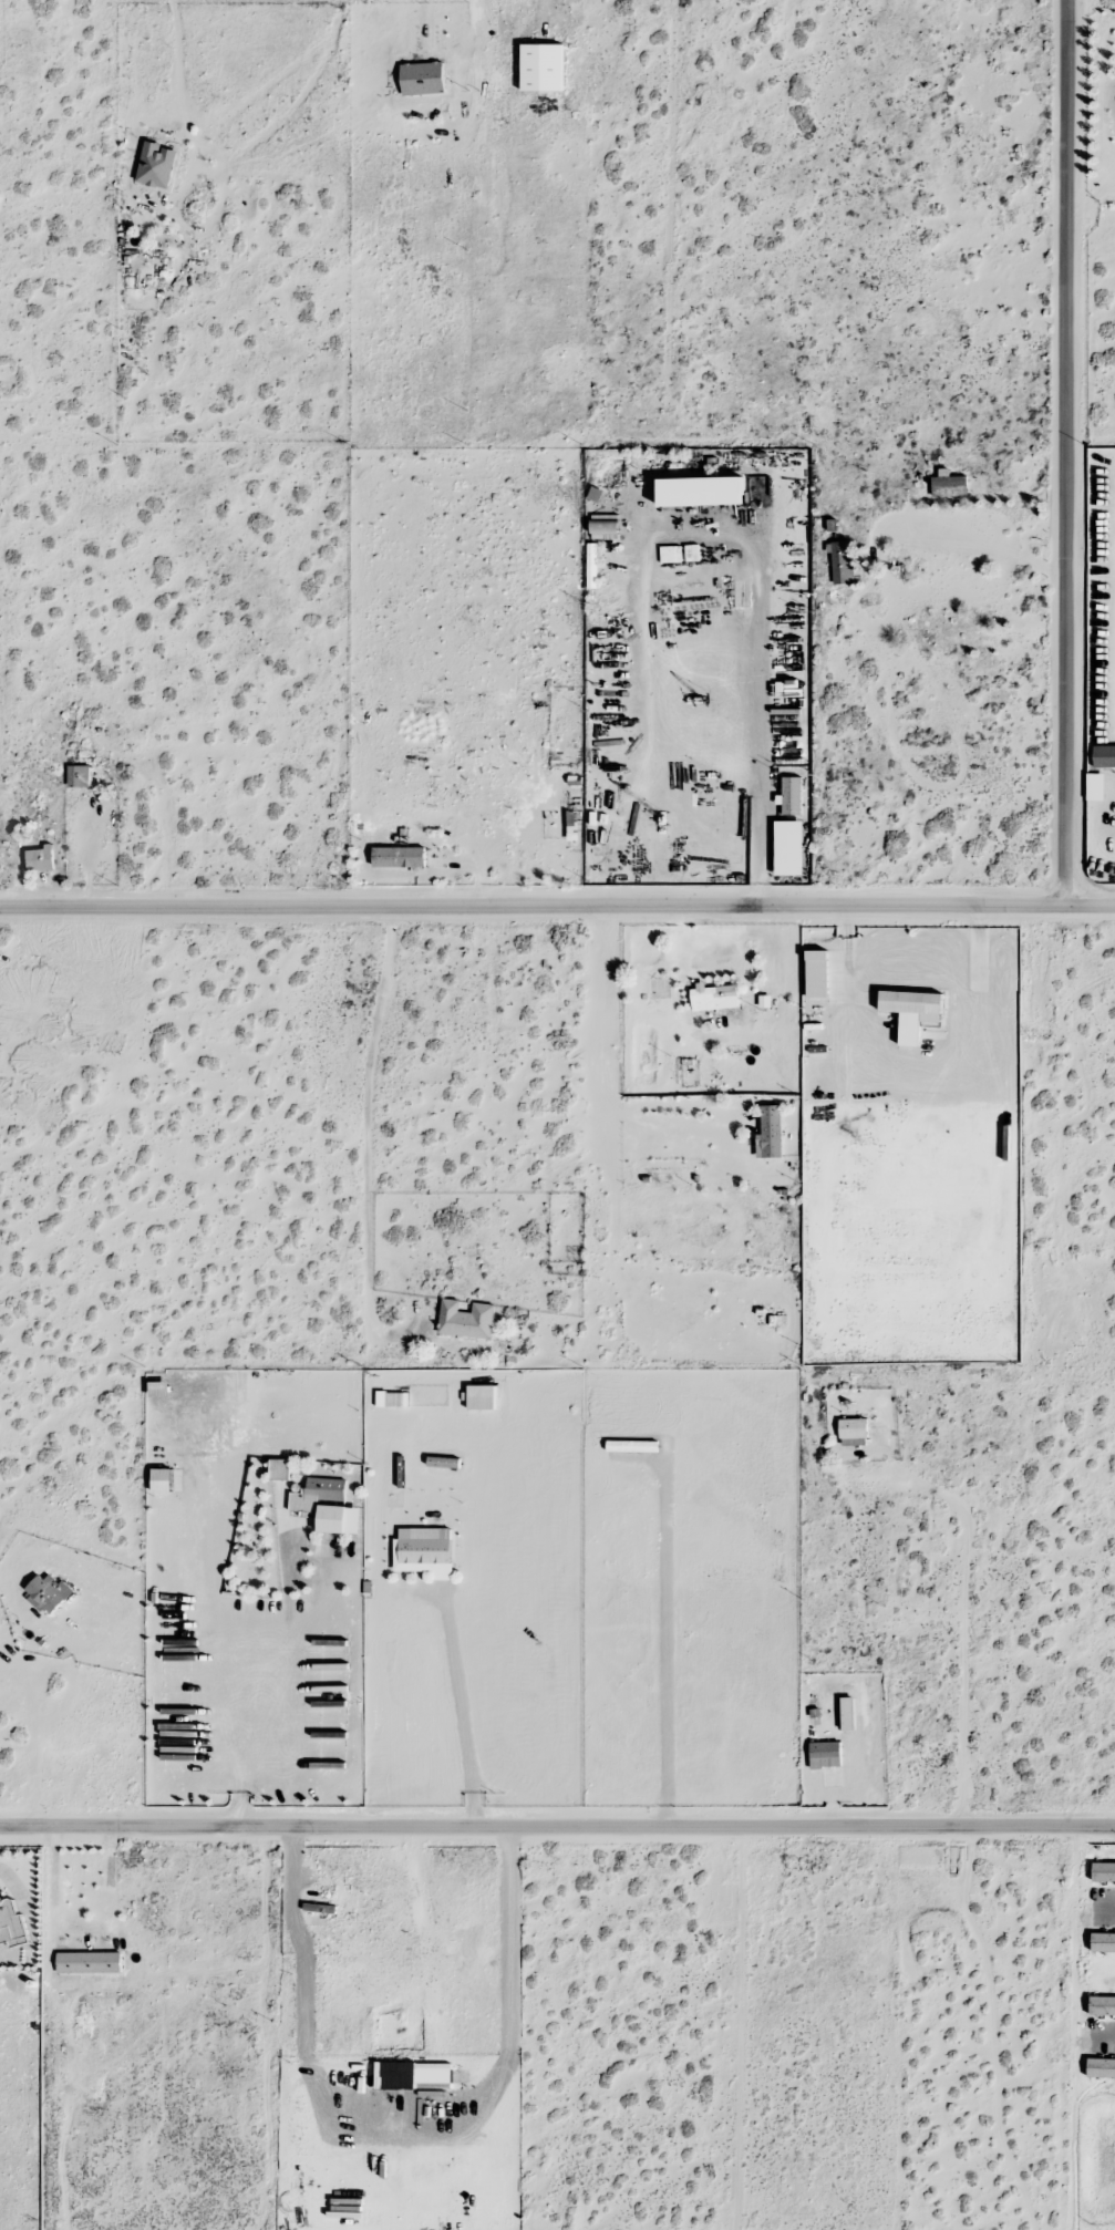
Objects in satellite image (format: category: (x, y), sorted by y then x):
building: (156, 165)
road: (1065, 451)
building: (948, 478)
building: (701, 491)
building: (949, 491)
road: (746, 540)
building: (840, 562)
building: (590, 566)
building: (1104, 756)
building: (79, 776)
building: (791, 796)
building: (788, 848)
building: (399, 857)
building: (40, 858)
road: (557, 904)
building: (817, 973)
building: (713, 998)
building: (912, 1013)
road: (911, 1068)
road: (591, 1072)
building: (770, 1133)
road: (369, 1142)
building: (465, 1320)
building: (853, 1432)
building: (162, 1480)
building: (317, 1494)
building: (332, 1519)
building: (424, 1557)
building: (49, 1593)
road: (37, 1685)
road: (463, 1705)
building: (847, 1714)
road: (242, 1726)
building: (825, 1754)
road: (557, 1828)
building: (1103, 1871)
building: (11, 1922)
building: (1103, 1942)
building: (89, 1962)
building: (1102, 2006)
building: (1101, 2068)

